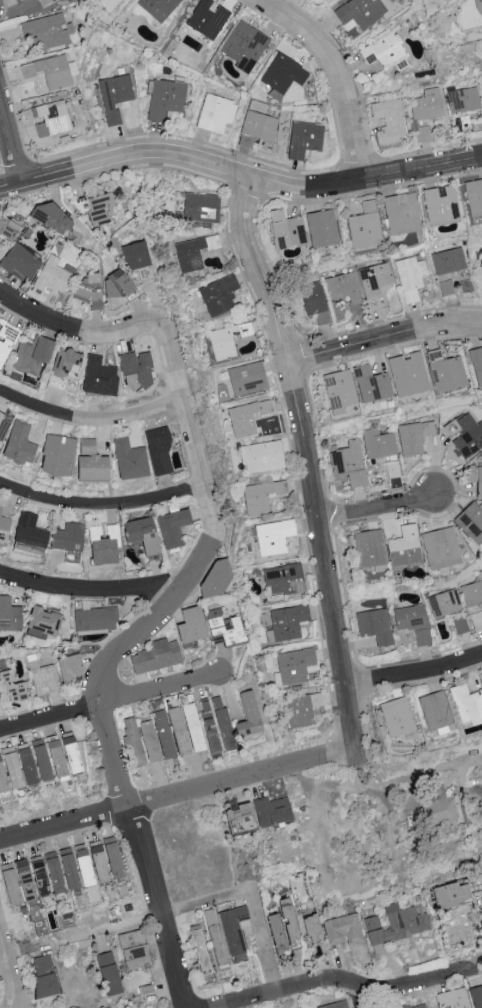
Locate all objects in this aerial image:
building: (44, 1)
building: (158, 7)
building: (359, 12)
building: (206, 19)
building: (47, 29)
building: (244, 45)
building: (383, 49)
building: (49, 71)
building: (283, 73)
road: (339, 74)
building: (114, 95)
building: (165, 97)
building: (464, 99)
building: (427, 104)
building: (215, 113)
building: (51, 117)
building: (388, 120)
building: (258, 125)
building: (304, 138)
road: (9, 150)
road: (239, 173)
building: (474, 198)
building: (440, 203)
building: (201, 206)
building: (99, 209)
building: (401, 213)
building: (50, 217)
building: (364, 226)
building: (321, 227)
building: (6, 229)
building: (286, 229)
building: (192, 252)
building: (136, 254)
building: (448, 260)
building: (18, 261)
building: (481, 261)
building: (144, 272)
building: (53, 274)
building: (375, 275)
building: (410, 276)
building: (115, 284)
building: (343, 286)
building: (446, 286)
building: (87, 290)
building: (219, 294)
building: (314, 301)
building: (374, 301)
road: (77, 330)
building: (6, 338)
road: (386, 338)
building: (31, 355)
building: (65, 363)
building: (477, 367)
building: (135, 369)
building: (445, 371)
building: (407, 374)
building: (98, 376)
building: (247, 378)
building: (371, 383)
building: (339, 390)
building: (245, 416)
road: (89, 418)
building: (2, 425)
building: (468, 435)
building: (414, 436)
building: (378, 442)
building: (19, 443)
building: (158, 450)
building: (56, 455)
building: (129, 459)
road: (306, 460)
building: (90, 461)
building: (349, 462)
building: (479, 481)
building: (261, 495)
road: (102, 505)
road: (372, 508)
building: (471, 520)
building: (3, 526)
building: (172, 527)
building: (29, 531)
building: (141, 535)
building: (273, 536)
building: (68, 540)
building: (103, 545)
building: (440, 546)
building: (369, 547)
building: (404, 547)
building: (284, 578)
building: (214, 580)
road: (91, 591)
building: (473, 591)
building: (444, 602)
building: (8, 614)
building: (95, 619)
building: (476, 619)
building: (412, 621)
building: (42, 622)
building: (286, 622)
building: (190, 625)
building: (375, 625)
building: (461, 625)
building: (223, 627)
road: (118, 653)
building: (155, 656)
building: (294, 665)
building: (69, 668)
road: (414, 675)
building: (42, 677)
building: (11, 686)
building: (466, 703)
road: (109, 704)
building: (302, 708)
building: (435, 711)
building: (247, 716)
building: (396, 716)
building: (222, 722)
building: (208, 725)
building: (192, 727)
building: (177, 731)
building: (156, 737)
building: (132, 743)
building: (70, 753)
building: (55, 758)
building: (40, 759)
building: (25, 764)
building: (10, 767)
building: (1, 778)
road: (374, 790)
road: (177, 796)
building: (438, 803)
building: (271, 809)
building: (239, 816)
building: (112, 856)
building: (98, 861)
building: (83, 863)
building: (68, 867)
building: (53, 870)
building: (39, 876)
building: (16, 881)
building: (474, 882)
building: (451, 893)
road: (161, 912)
building: (286, 920)
building: (397, 924)
building: (234, 926)
building: (311, 926)
building: (343, 929)
building: (275, 932)
building: (214, 935)
building: (132, 948)
building: (199, 948)
road: (20, 949)
road: (7, 972)
building: (107, 972)
building: (43, 974)
road: (340, 981)
building: (476, 995)
road: (357, 997)
building: (453, 997)
building: (335, 1005)
building: (415, 1005)

